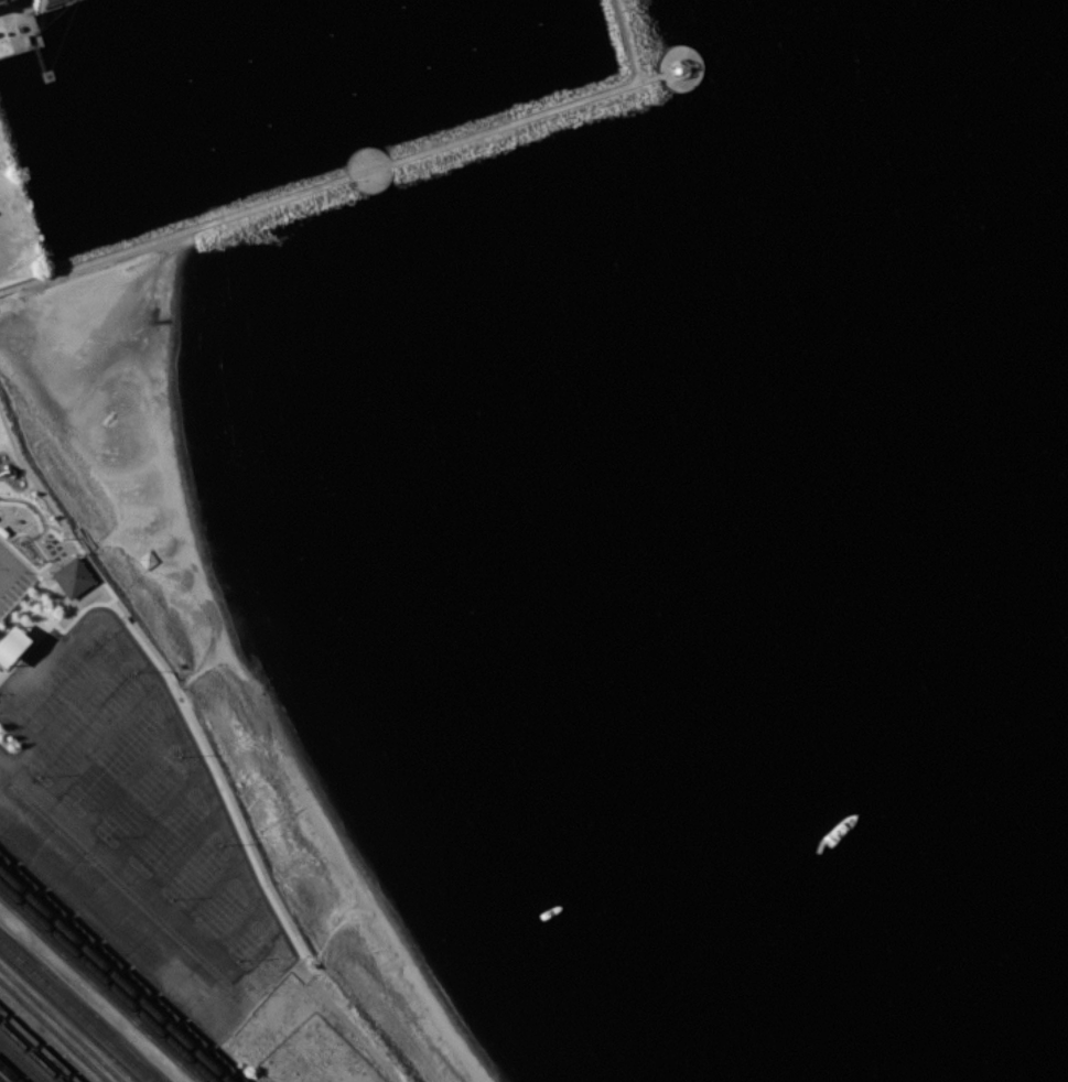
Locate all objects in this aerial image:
building: (50, 4)
road: (679, 54)
road: (357, 172)
park: (184, 499)
road: (8, 561)
building: (71, 577)
road: (3, 578)
parking lot: (13, 578)
road: (43, 578)
building: (11, 647)
road: (21, 731)
road: (103, 743)
road: (17, 762)
road: (130, 779)
road: (209, 792)
road: (158, 815)
parking lot: (133, 820)
road: (183, 852)
road: (130, 874)
road: (211, 890)
road: (236, 927)
railway: (121, 970)
railway: (114, 976)
railway: (107, 983)
railway: (99, 989)
road: (93, 997)
railway: (84, 1004)
railway: (76, 1010)
railway: (68, 1018)
railway: (62, 1024)
railway: (54, 1030)
railway: (39, 1046)
railway: (31, 1052)
railway: (23, 1060)
railway: (15, 1067)
railway: (9, 1073)
railway: (1, 1081)

